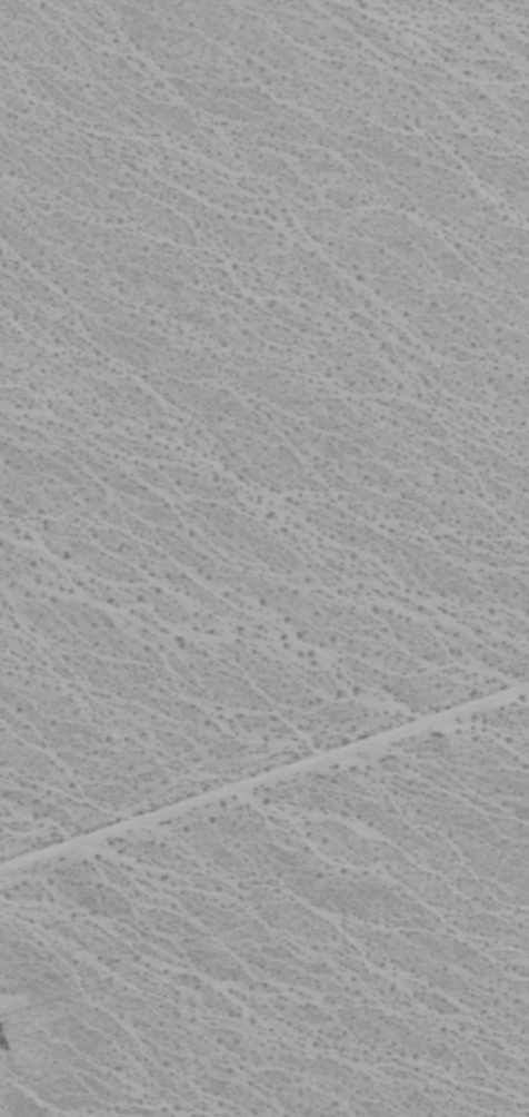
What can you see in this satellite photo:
road: (263, 748)

